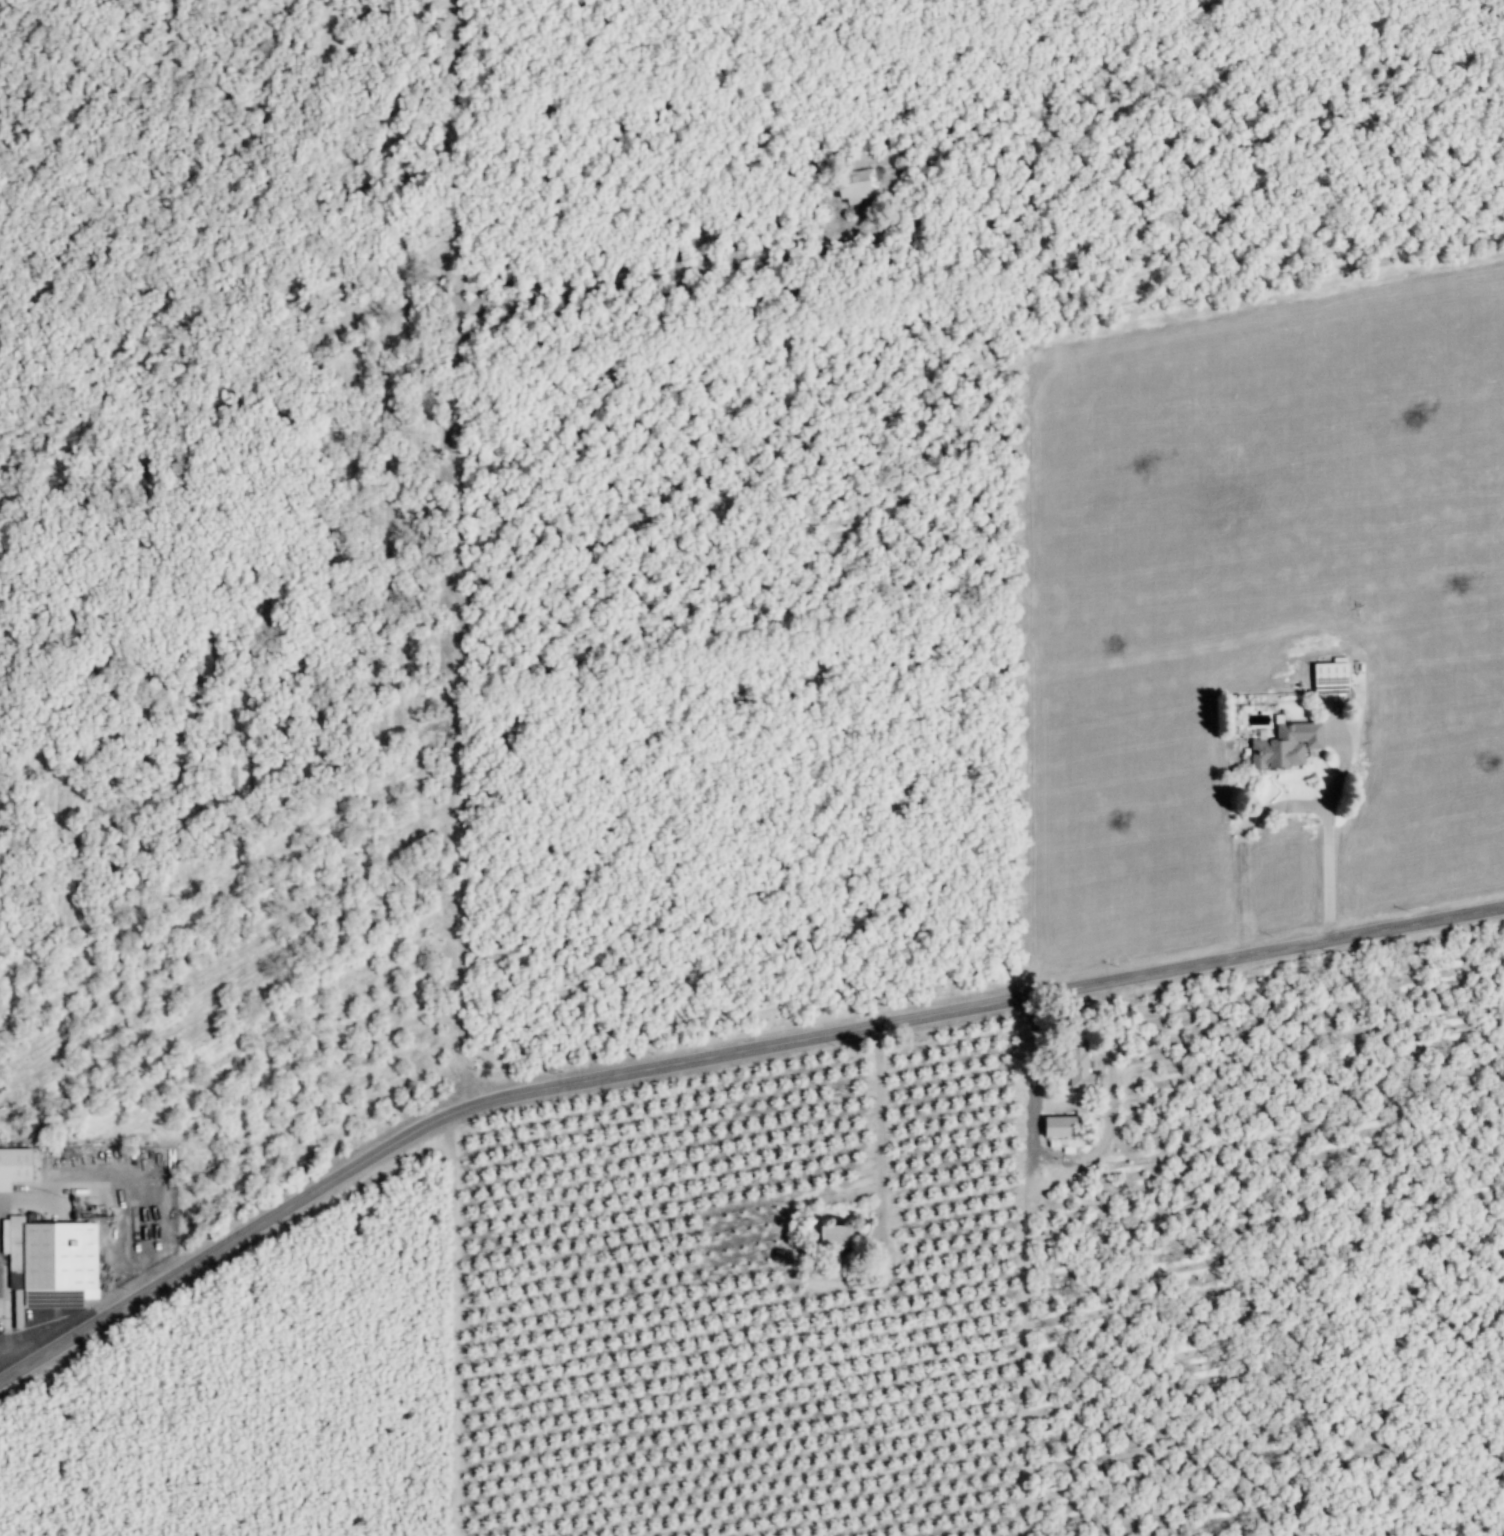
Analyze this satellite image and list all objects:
building: (858, 185)
road: (669, 269)
building: (1326, 678)
building: (1280, 746)
road: (460, 770)
road: (1281, 809)
road: (718, 1056)
building: (1073, 1069)
building: (1053, 1127)
road: (881, 1138)
road: (1077, 1156)
building: (16, 1168)
building: (52, 1264)

